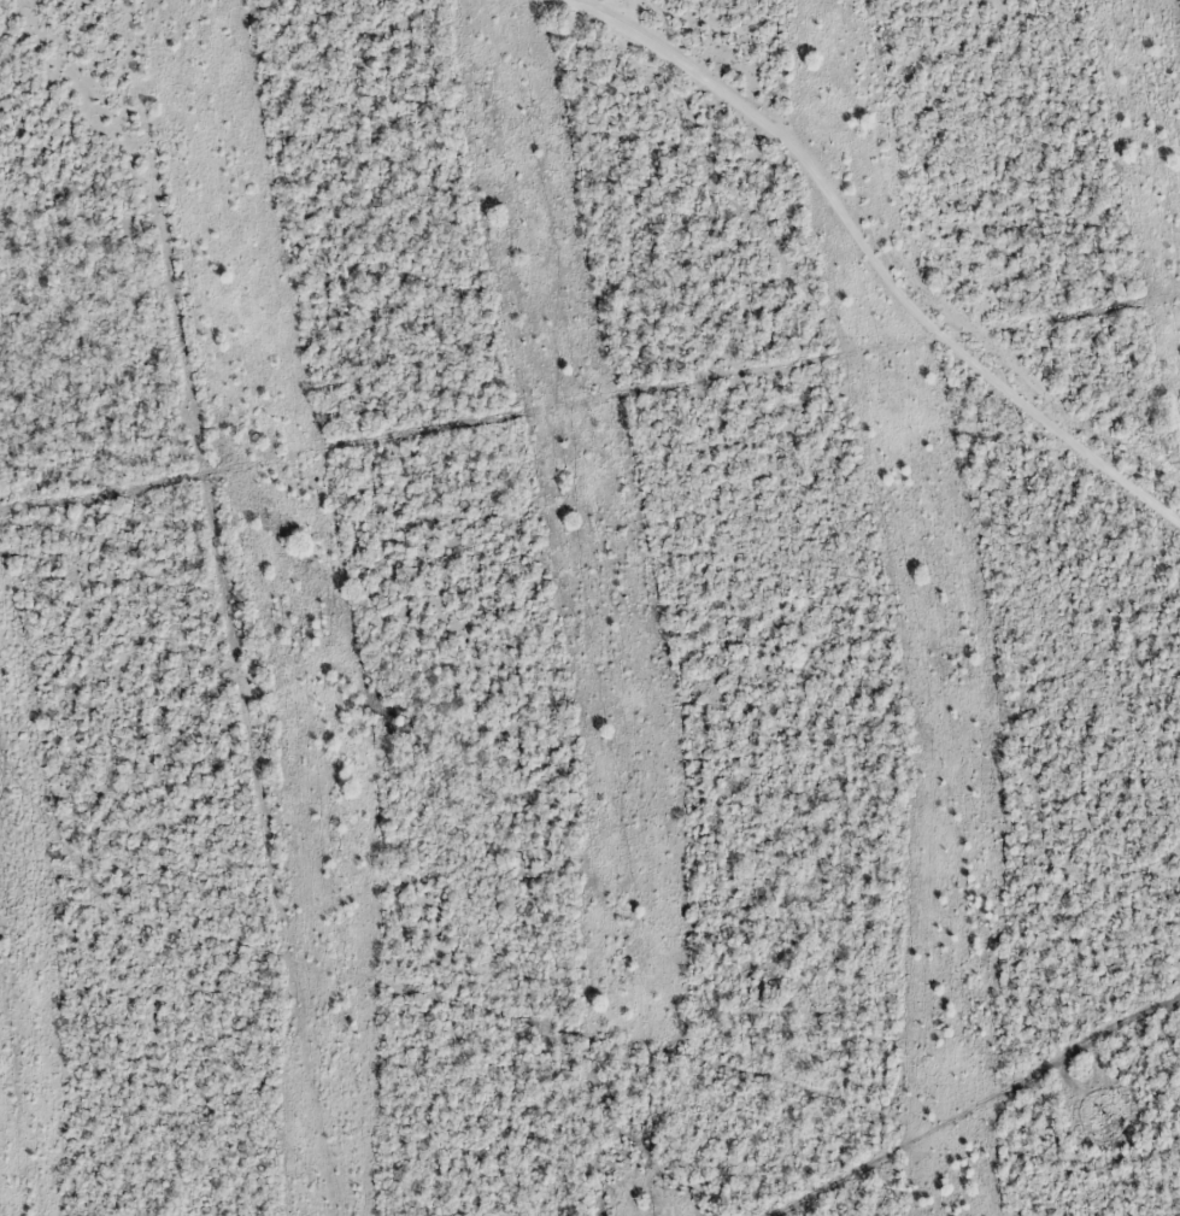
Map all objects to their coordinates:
road: (863, 251)

